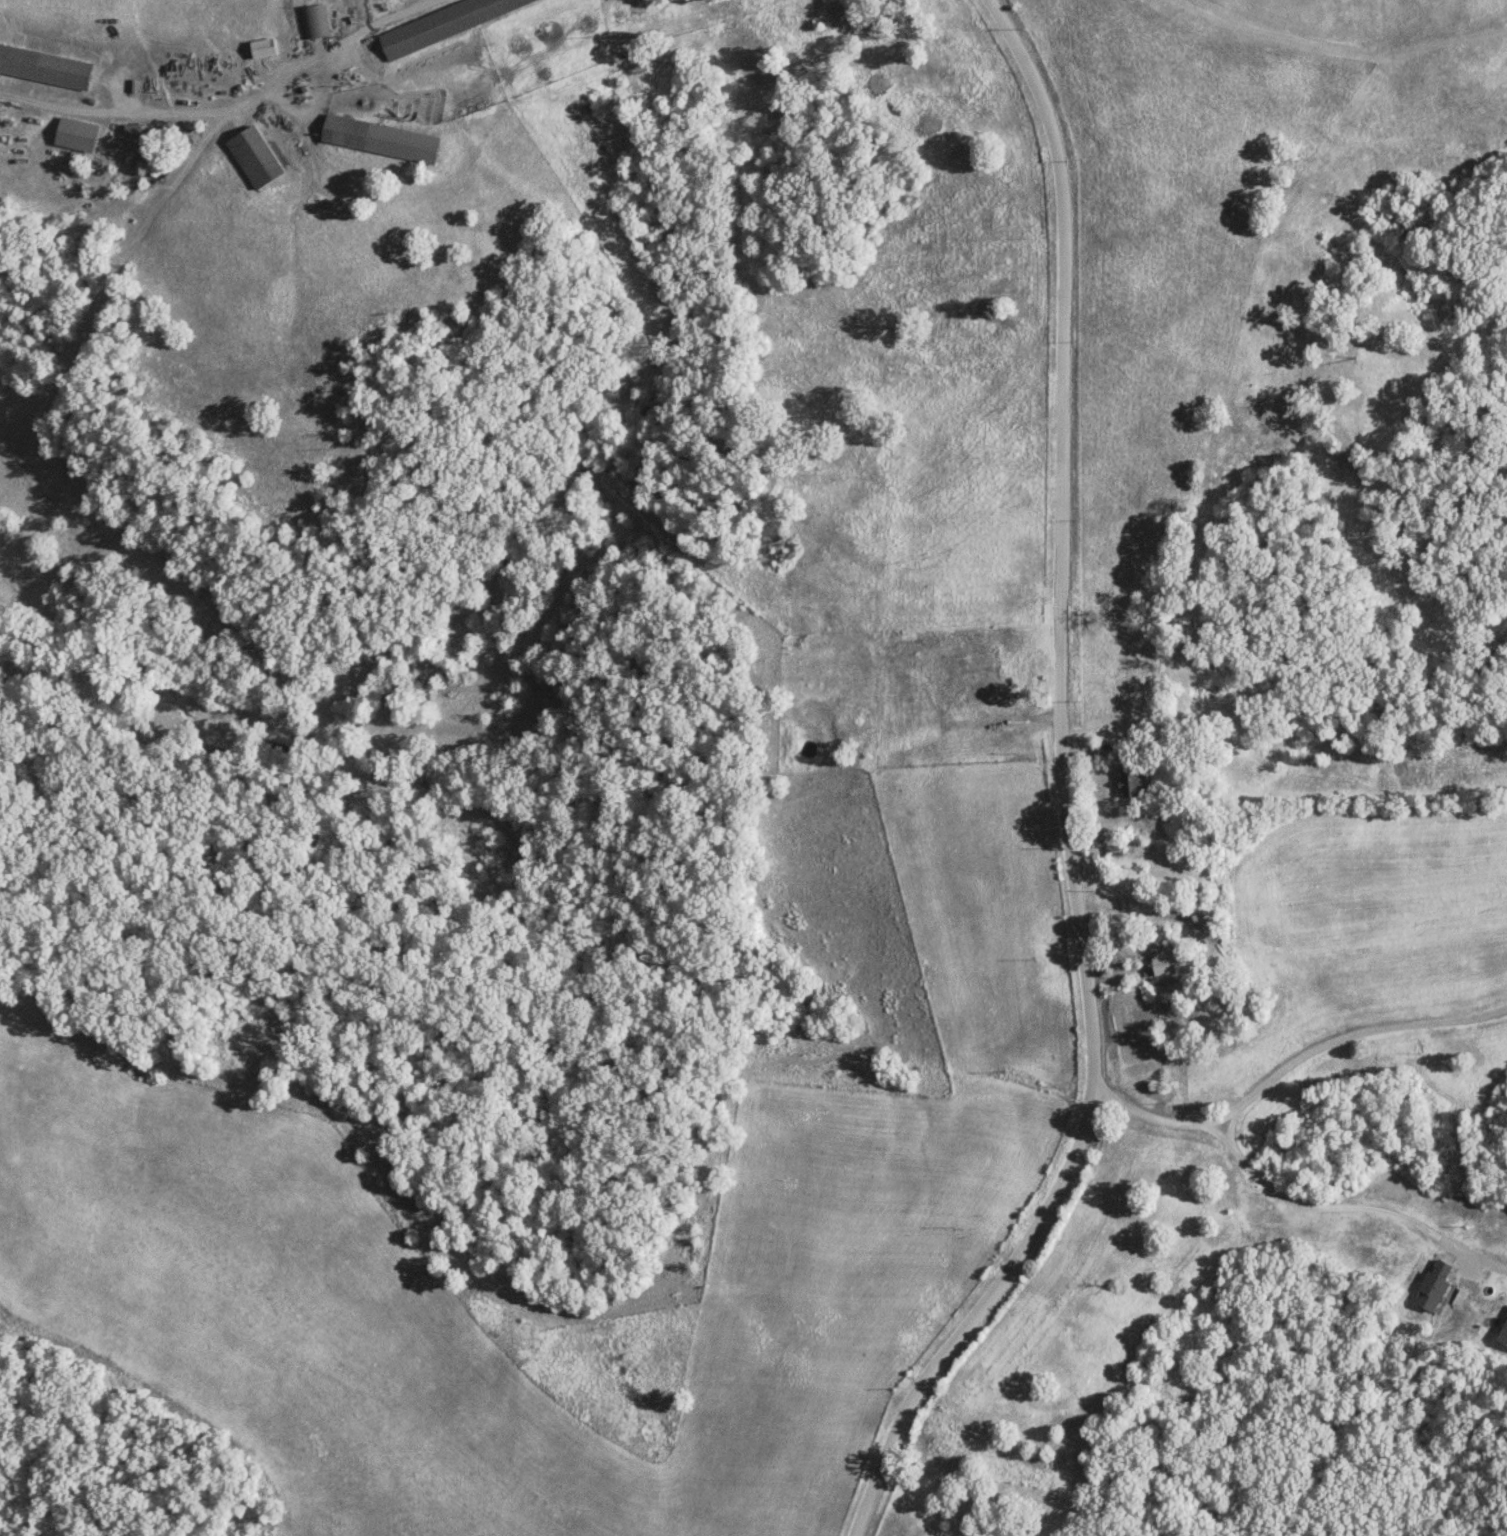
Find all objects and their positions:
building: (312, 20)
building: (442, 22)
building: (262, 47)
building: (44, 64)
building: (75, 134)
building: (380, 137)
building: (254, 156)
building: (980, 691)
building: (1128, 781)
road: (1065, 791)
building: (1165, 962)
road: (1287, 1061)
road: (1229, 1123)
road: (1329, 1208)
building: (1480, 1290)
building: (1502, 1332)

